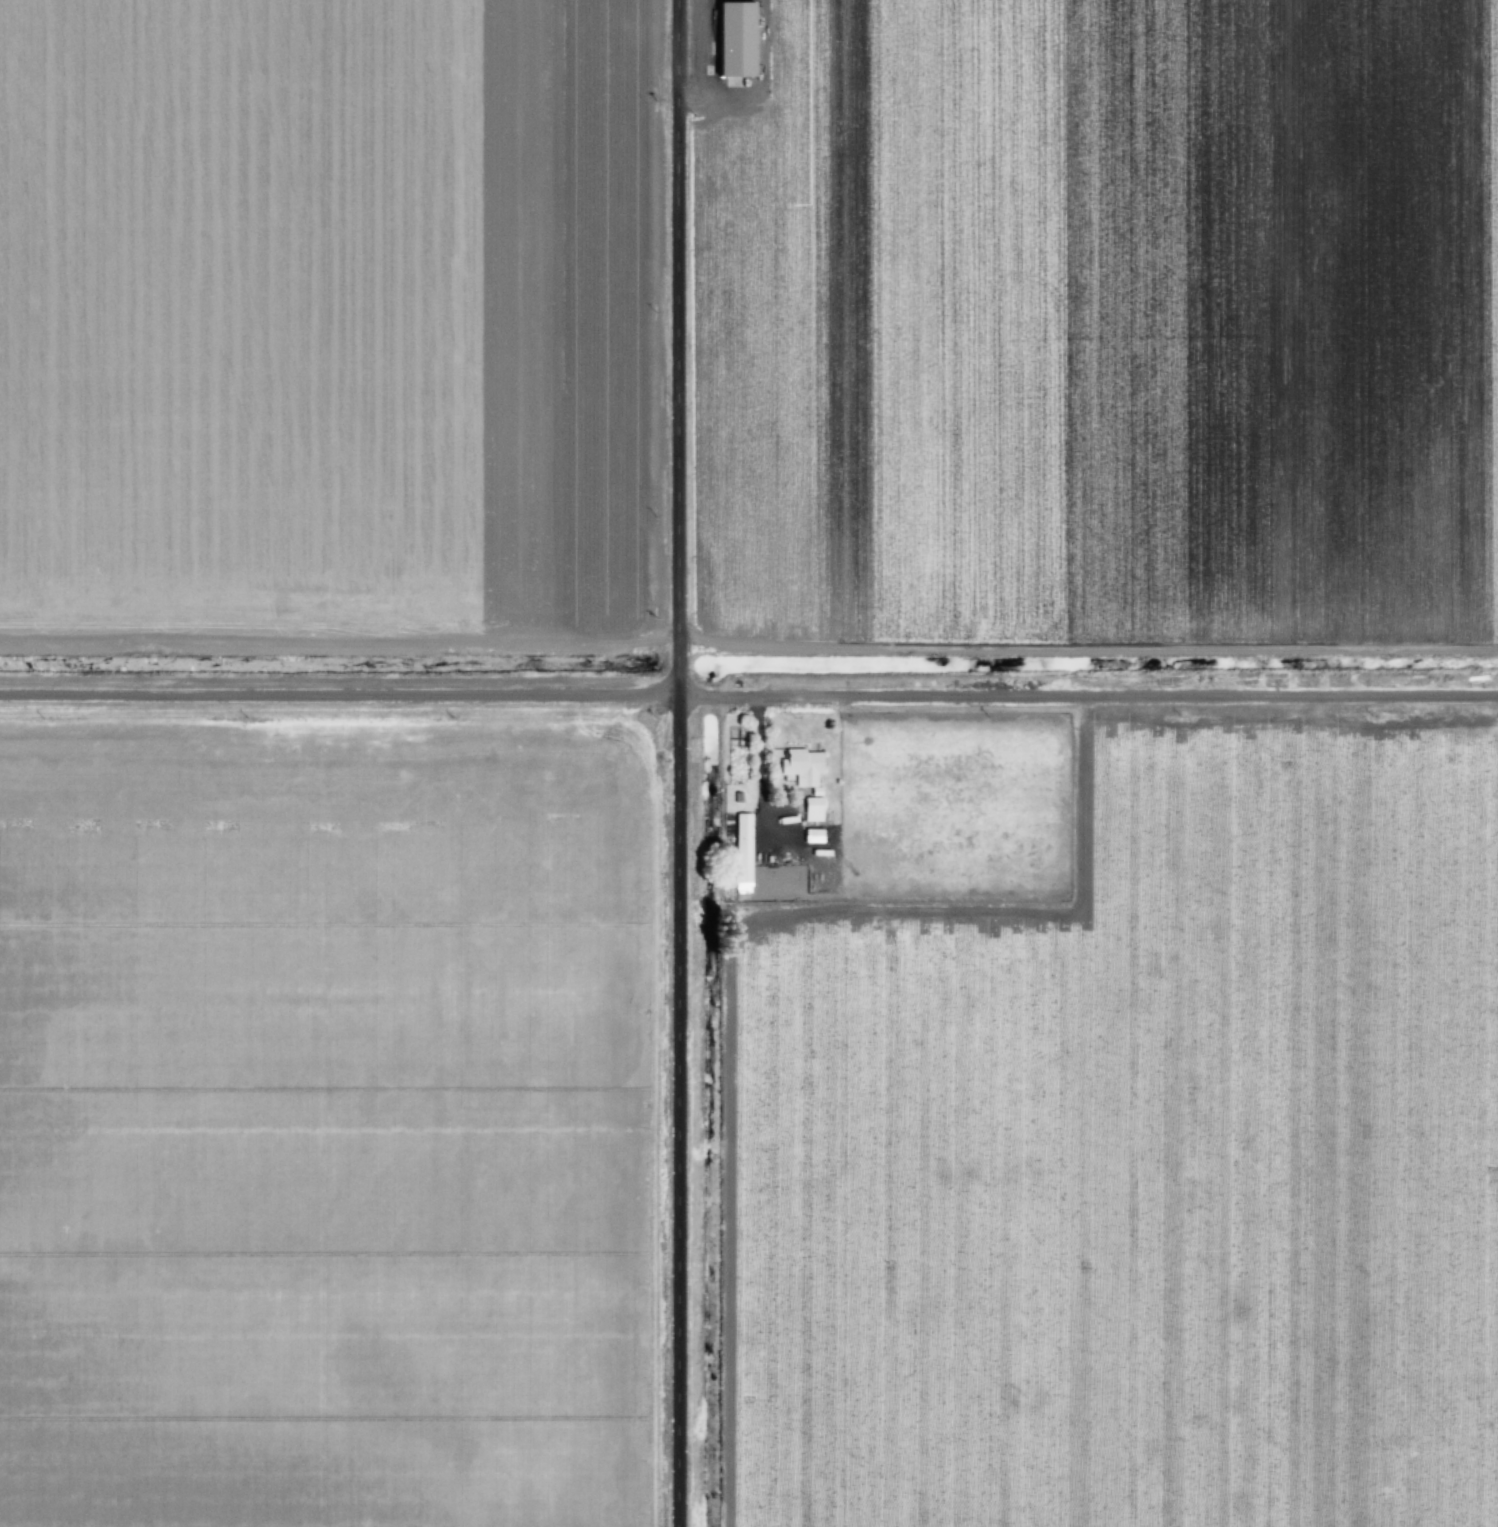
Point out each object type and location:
building: (739, 37)
crop: (330, 314)
crop: (1096, 319)
road: (748, 689)
building: (738, 736)
road: (687, 763)
building: (805, 766)
building: (741, 796)
crop: (958, 805)
building: (815, 809)
building: (743, 852)
crop: (326, 1121)
crop: (1139, 1153)

